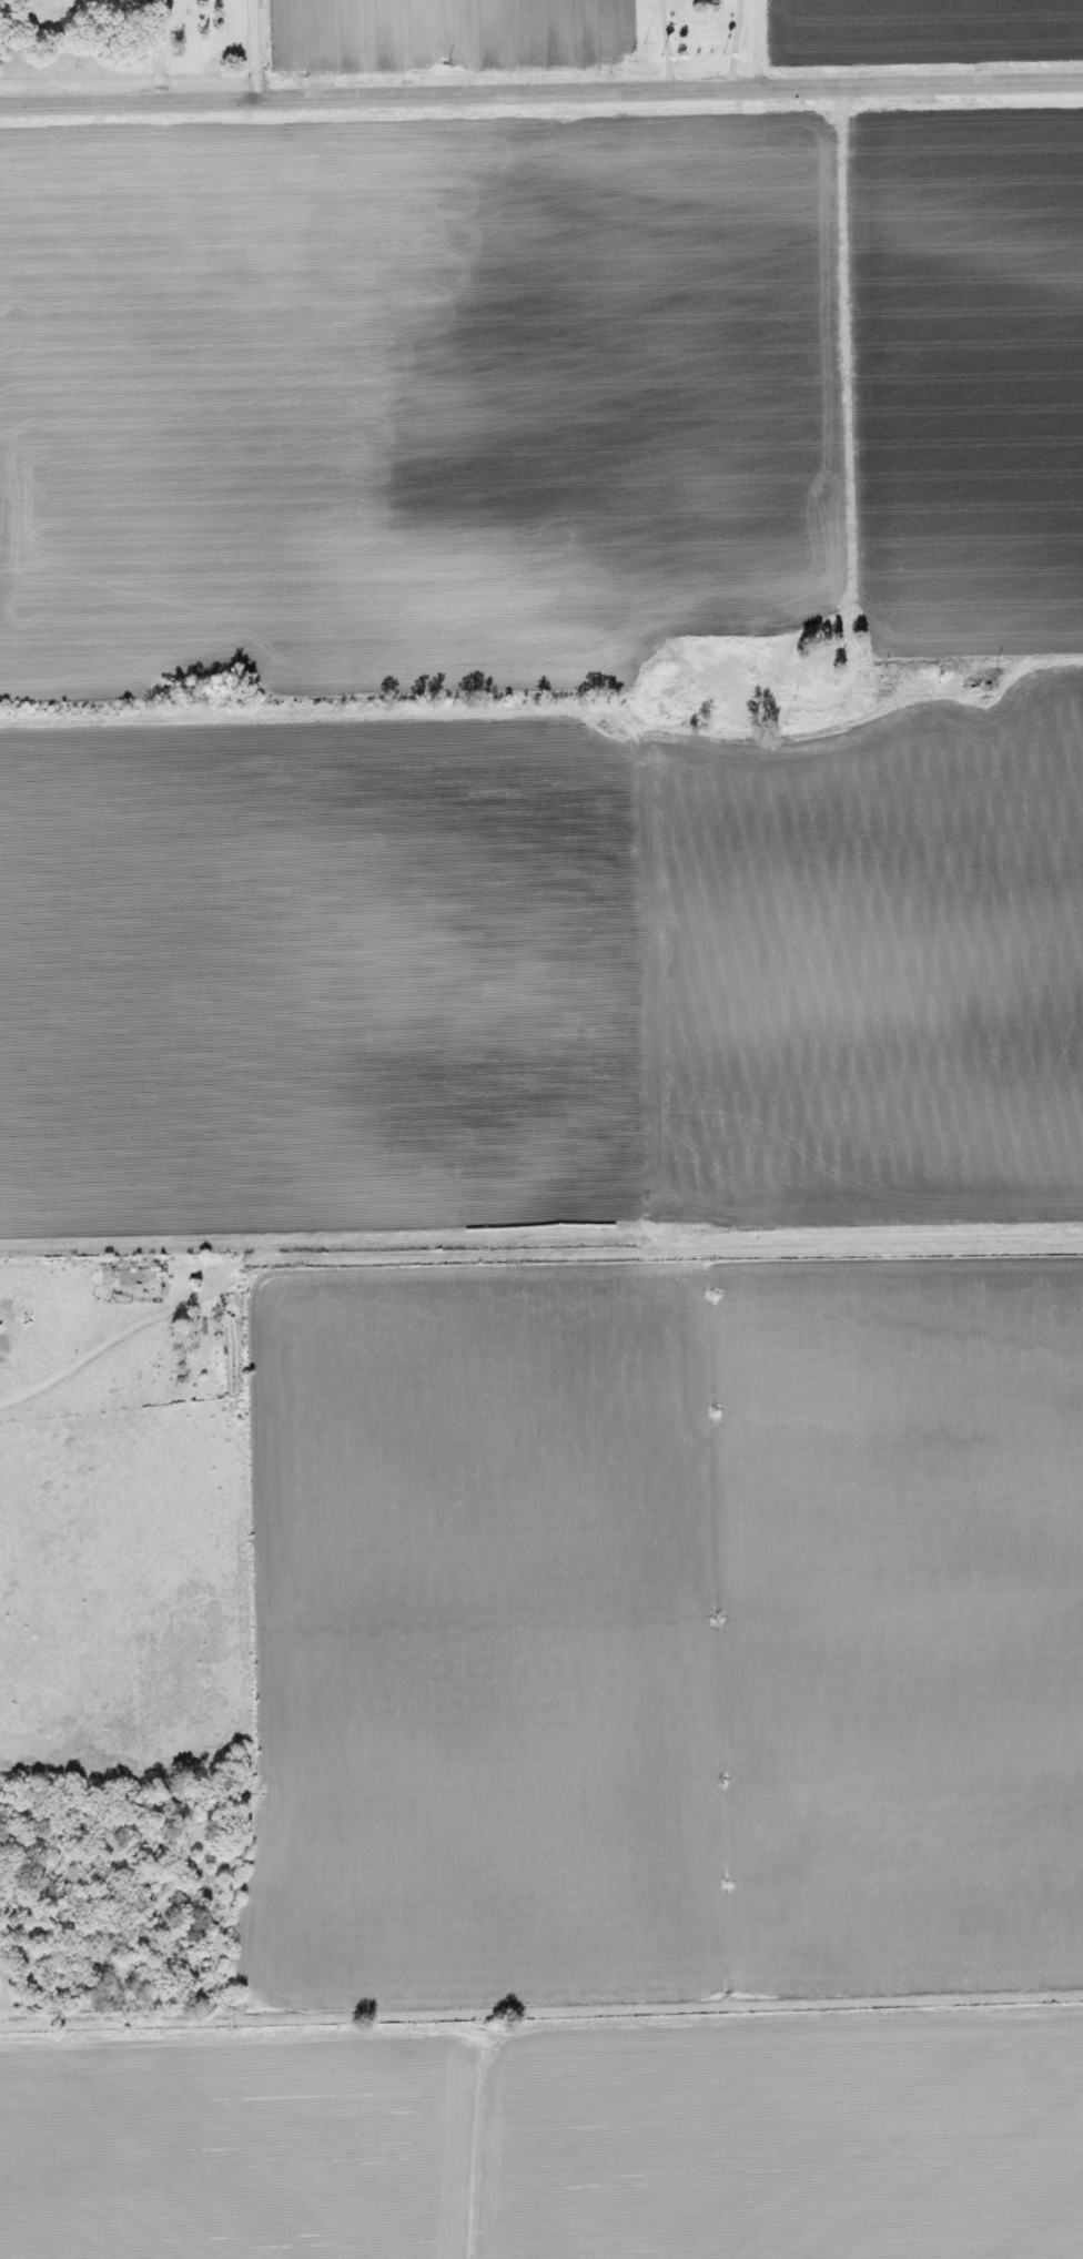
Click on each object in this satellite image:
building: (136, 1)
road: (790, 45)
road: (159, 49)
road: (251, 49)
road: (540, 93)
road: (866, 379)
building: (826, 660)
building: (121, 1277)

